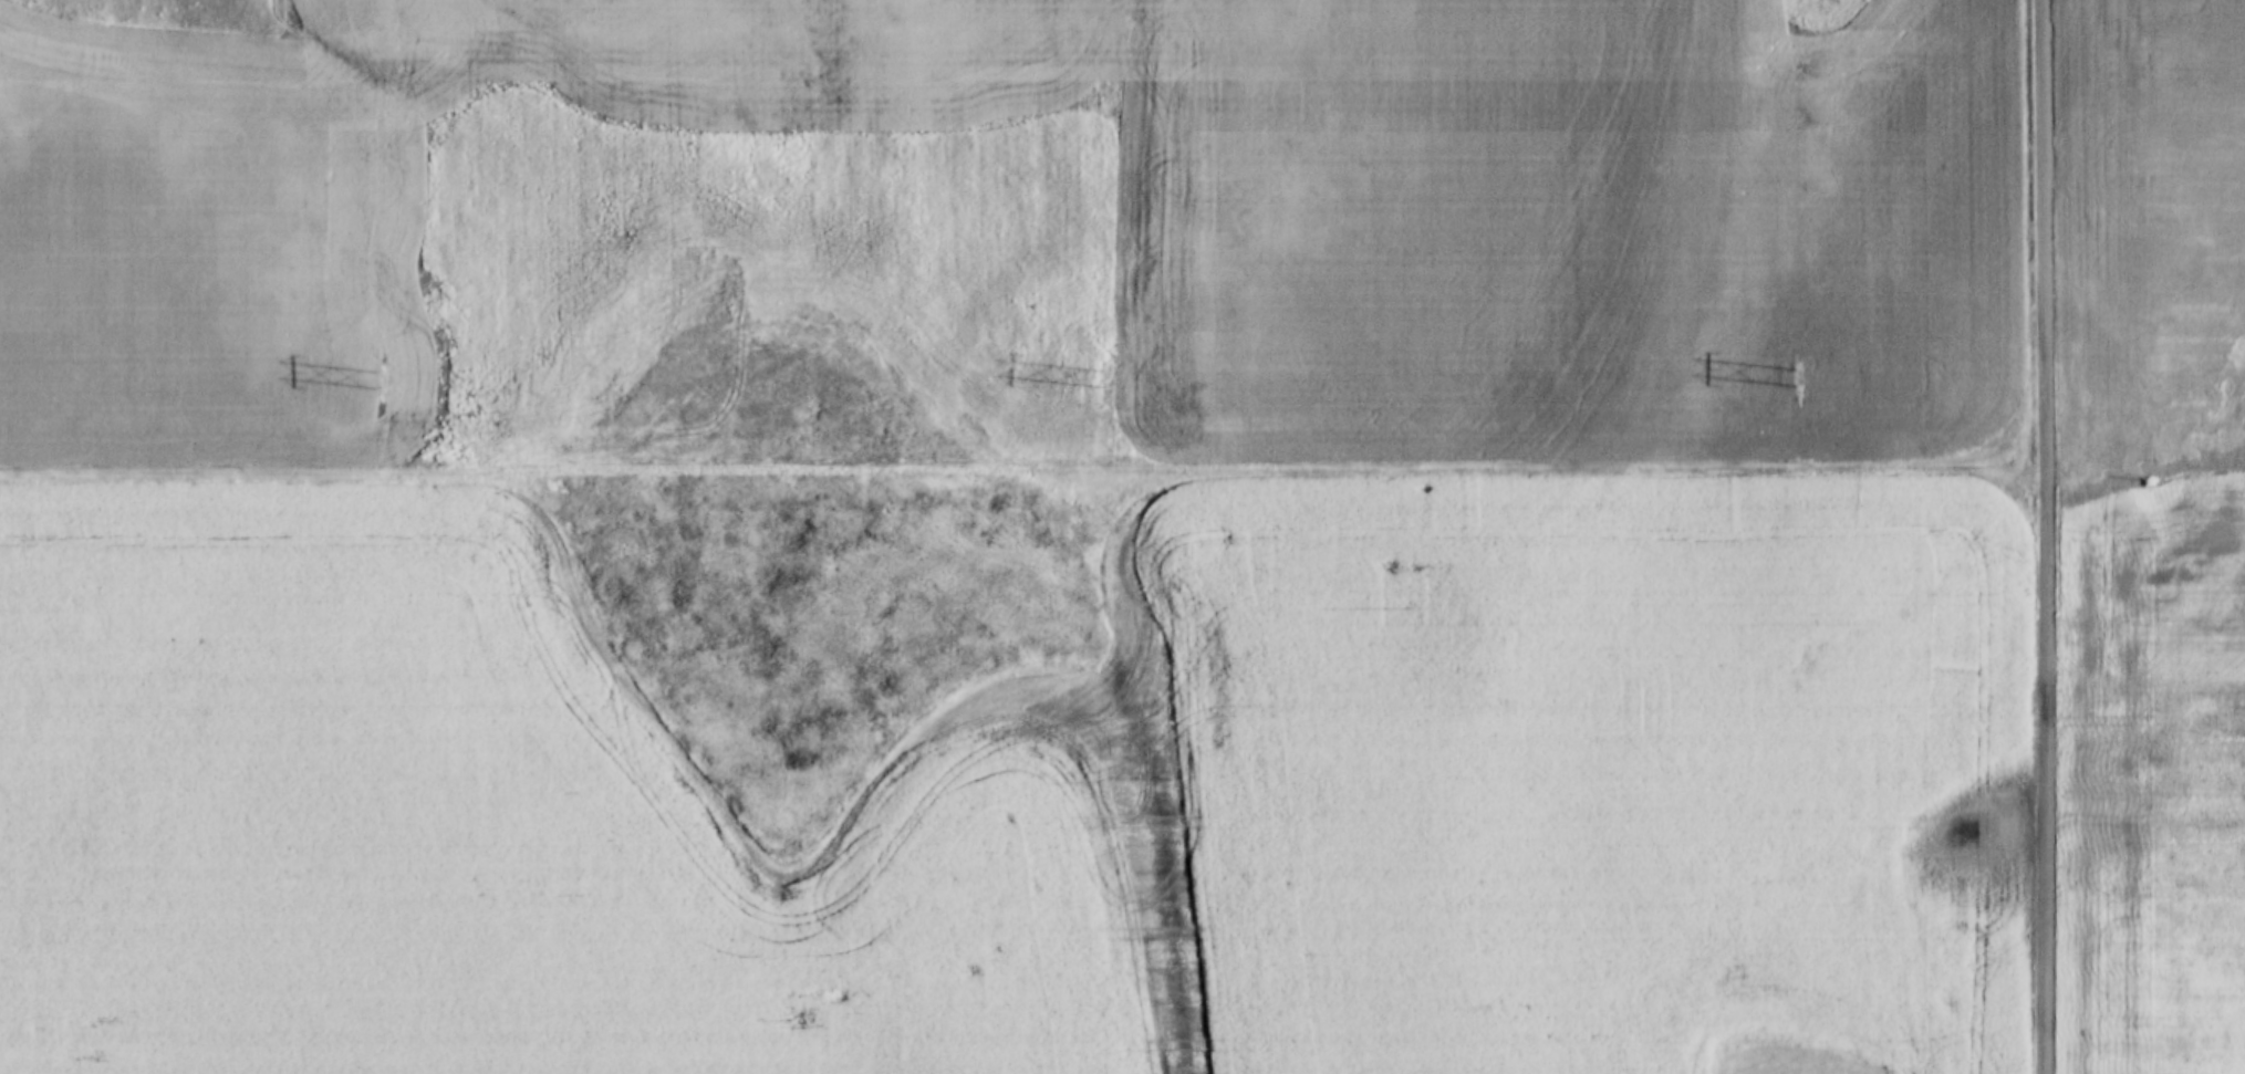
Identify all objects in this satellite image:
power tower: (1795, 377)
power tower: (389, 378)
power tower: (1110, 379)
road: (1023, 479)
road: (2047, 536)

